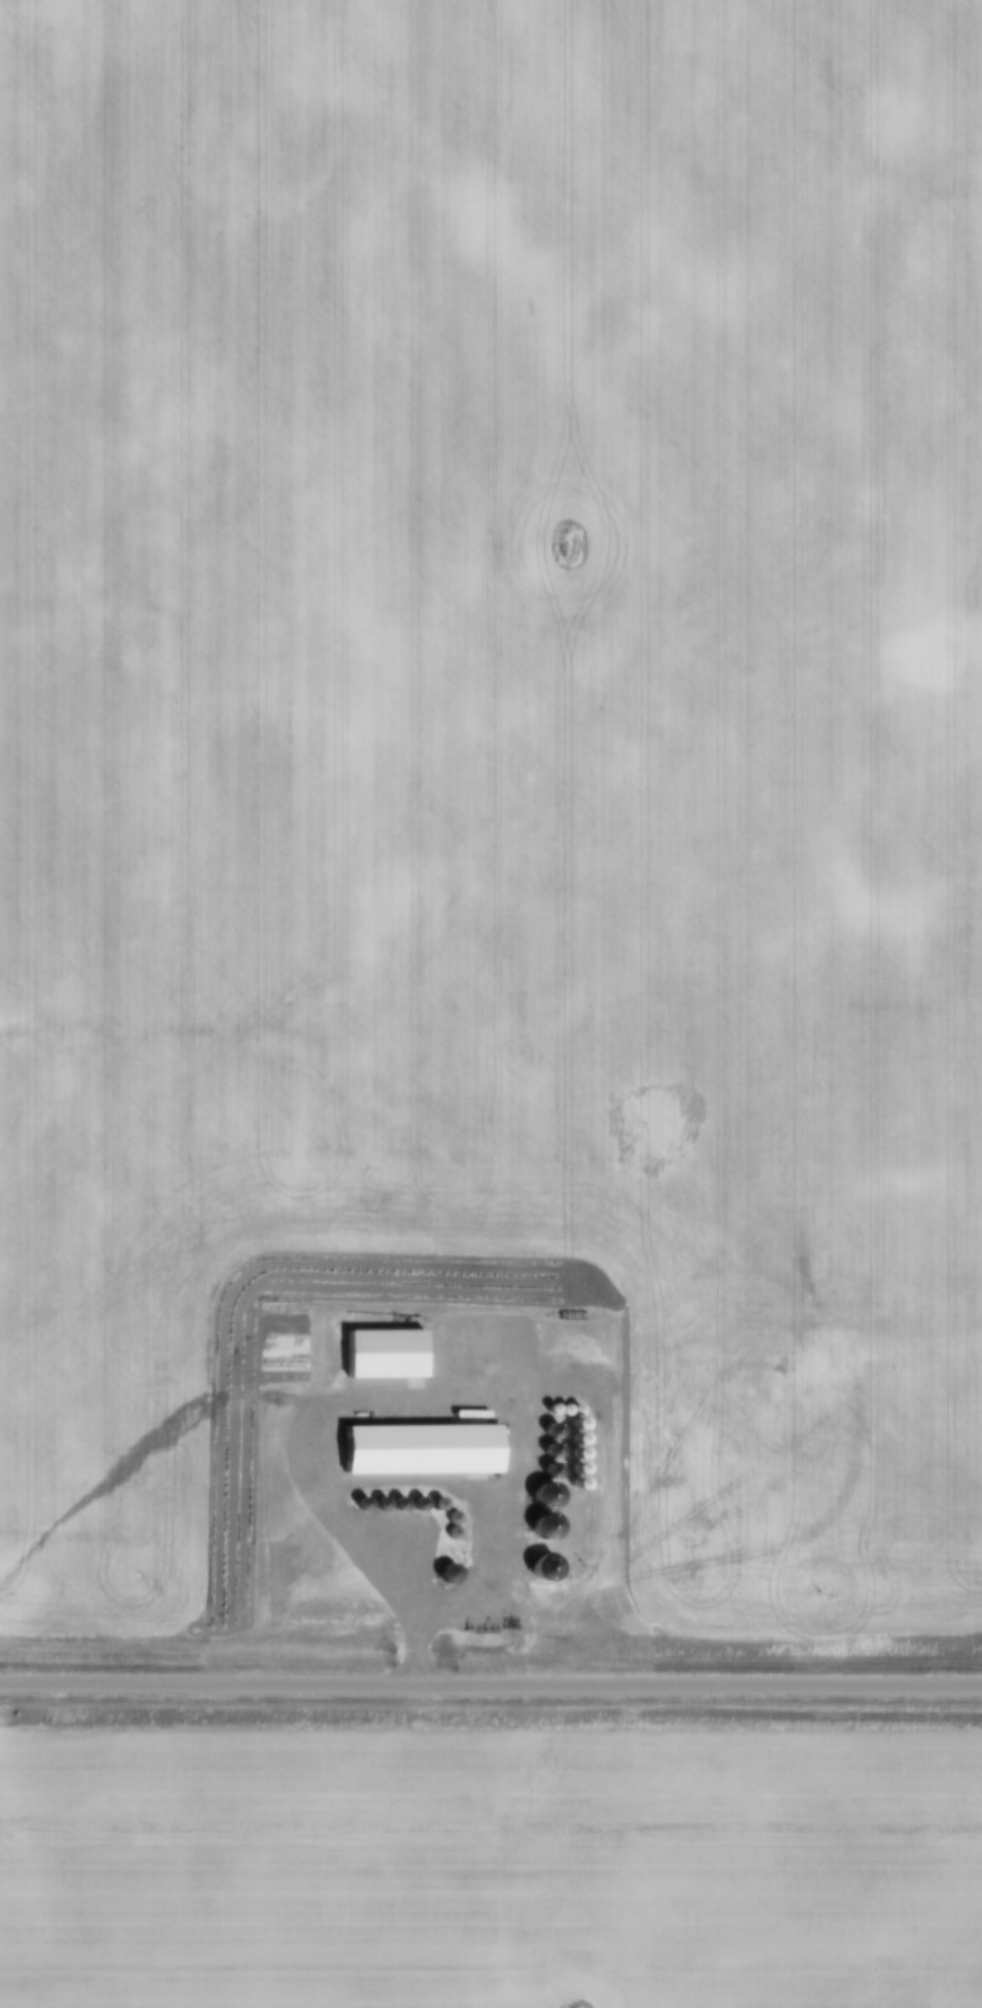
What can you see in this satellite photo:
building: (440, 1573)
road: (412, 1602)
road: (490, 1683)

